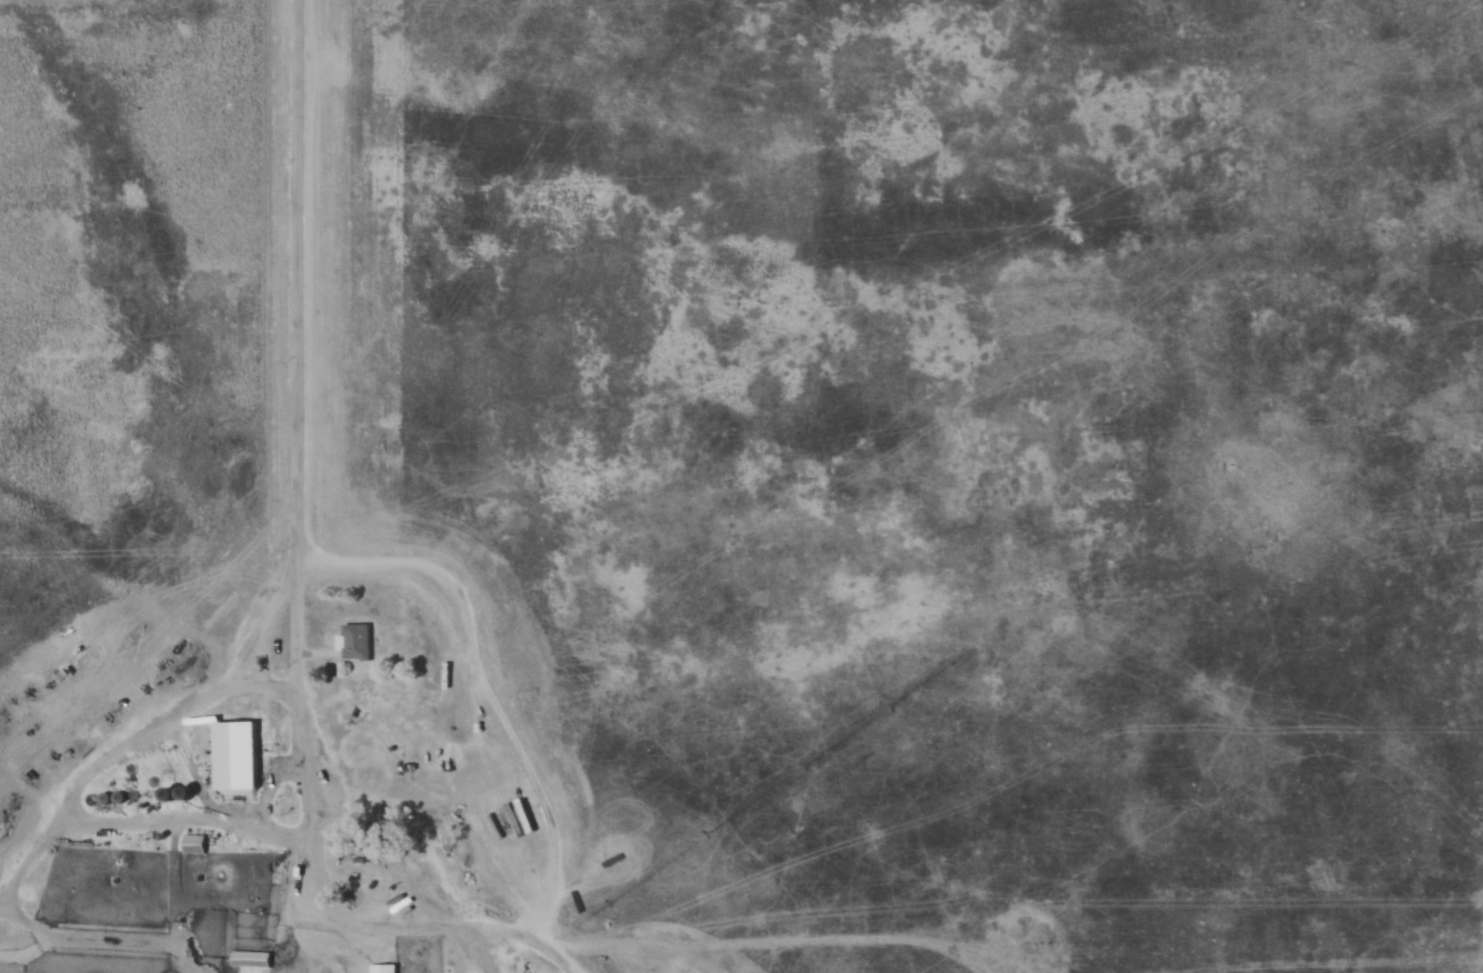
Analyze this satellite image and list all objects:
road: (301, 326)
building: (355, 641)
building: (227, 774)
building: (194, 843)
building: (251, 958)
building: (384, 967)

